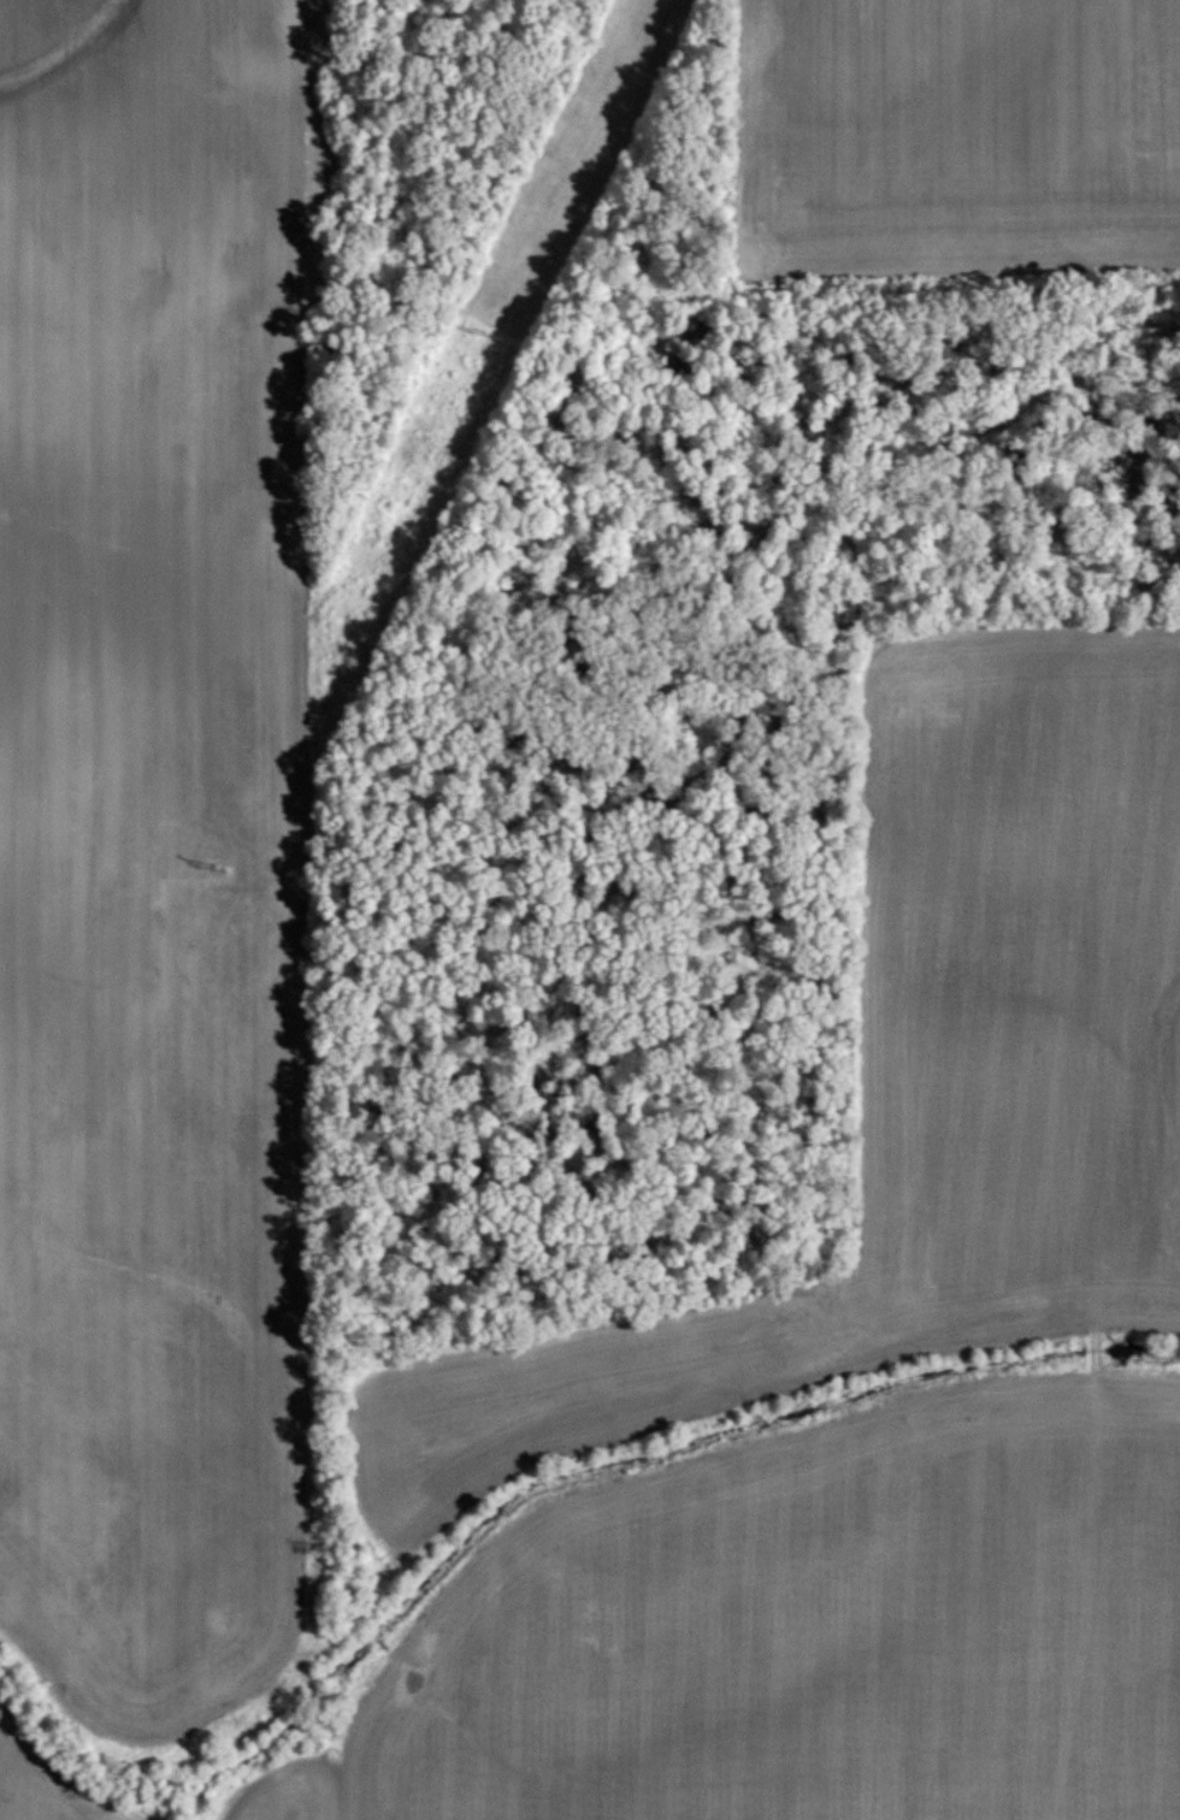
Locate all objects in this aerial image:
power tower: (495, 341)
power tower: (224, 870)

